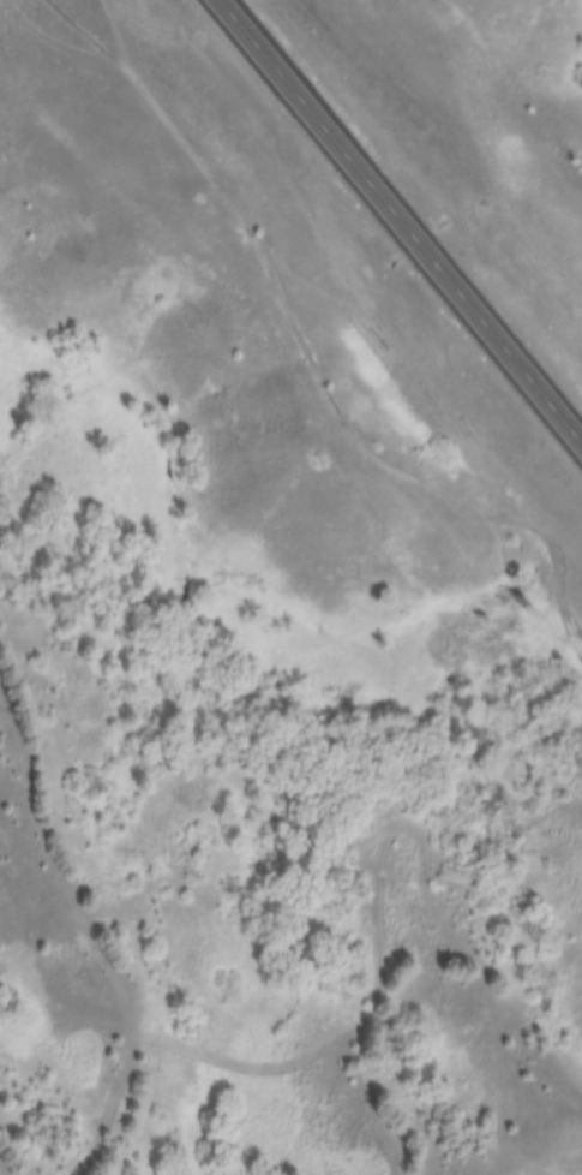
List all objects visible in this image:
road: (408, 217)

